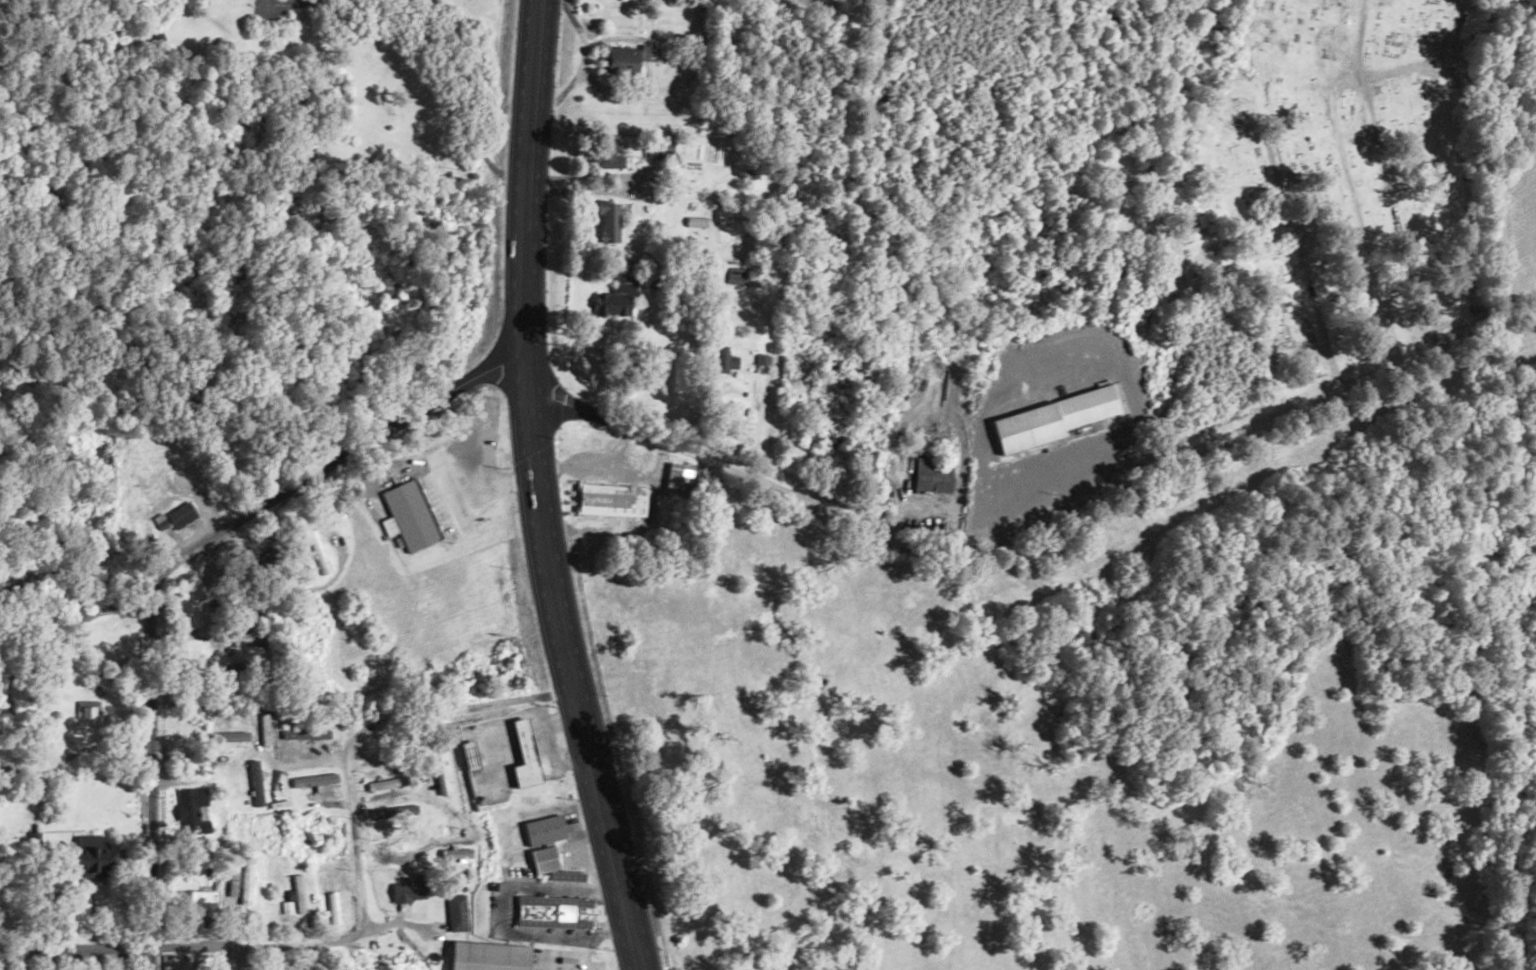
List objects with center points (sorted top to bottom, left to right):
building: (623, 59)
building: (606, 154)
building: (607, 222)
building: (737, 275)
building: (616, 298)
building: (722, 360)
building: (762, 363)
building: (1085, 409)
building: (824, 436)
building: (155, 472)
building: (932, 475)
road: (536, 490)
building: (610, 499)
building: (181, 515)
building: (408, 515)
road: (1038, 520)
road: (174, 566)
building: (232, 667)
building: (303, 734)
building: (229, 736)
building: (381, 740)
building: (467, 755)
building: (523, 756)
building: (315, 781)
building: (256, 783)
building: (388, 783)
building: (192, 811)
building: (395, 811)
road: (353, 824)
building: (544, 830)
building: (335, 850)
building: (89, 859)
building: (543, 860)
building: (410, 891)
building: (299, 895)
building: (196, 903)
building: (457, 912)
building: (542, 913)
road: (75, 951)
building: (489, 956)
building: (291, 969)

